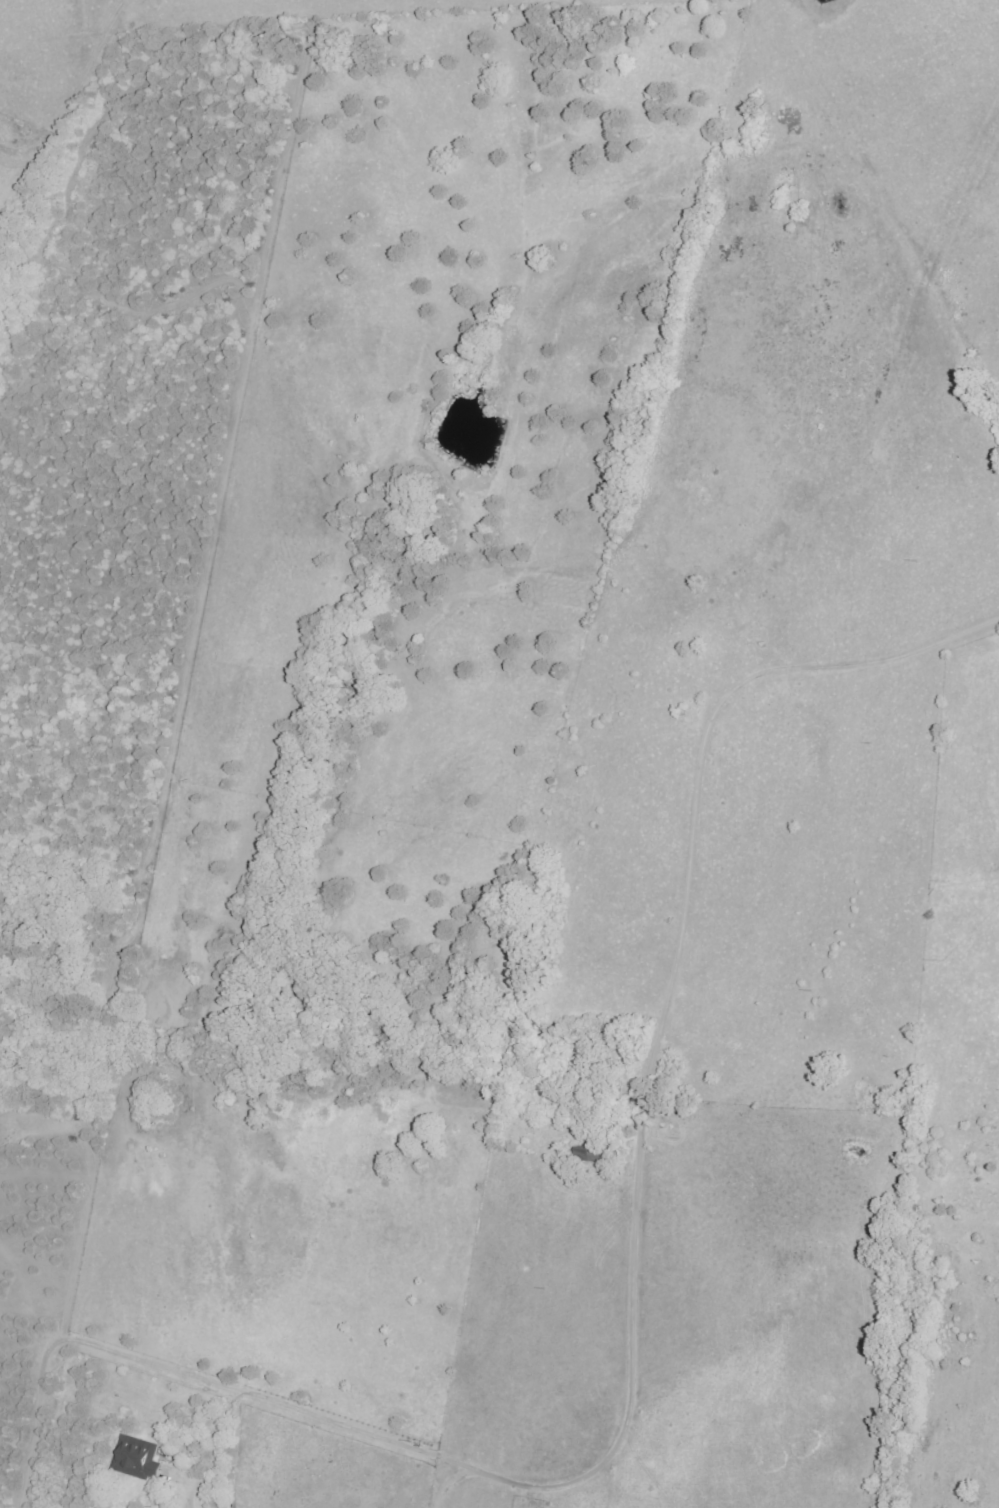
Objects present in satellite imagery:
building: (136, 1460)

